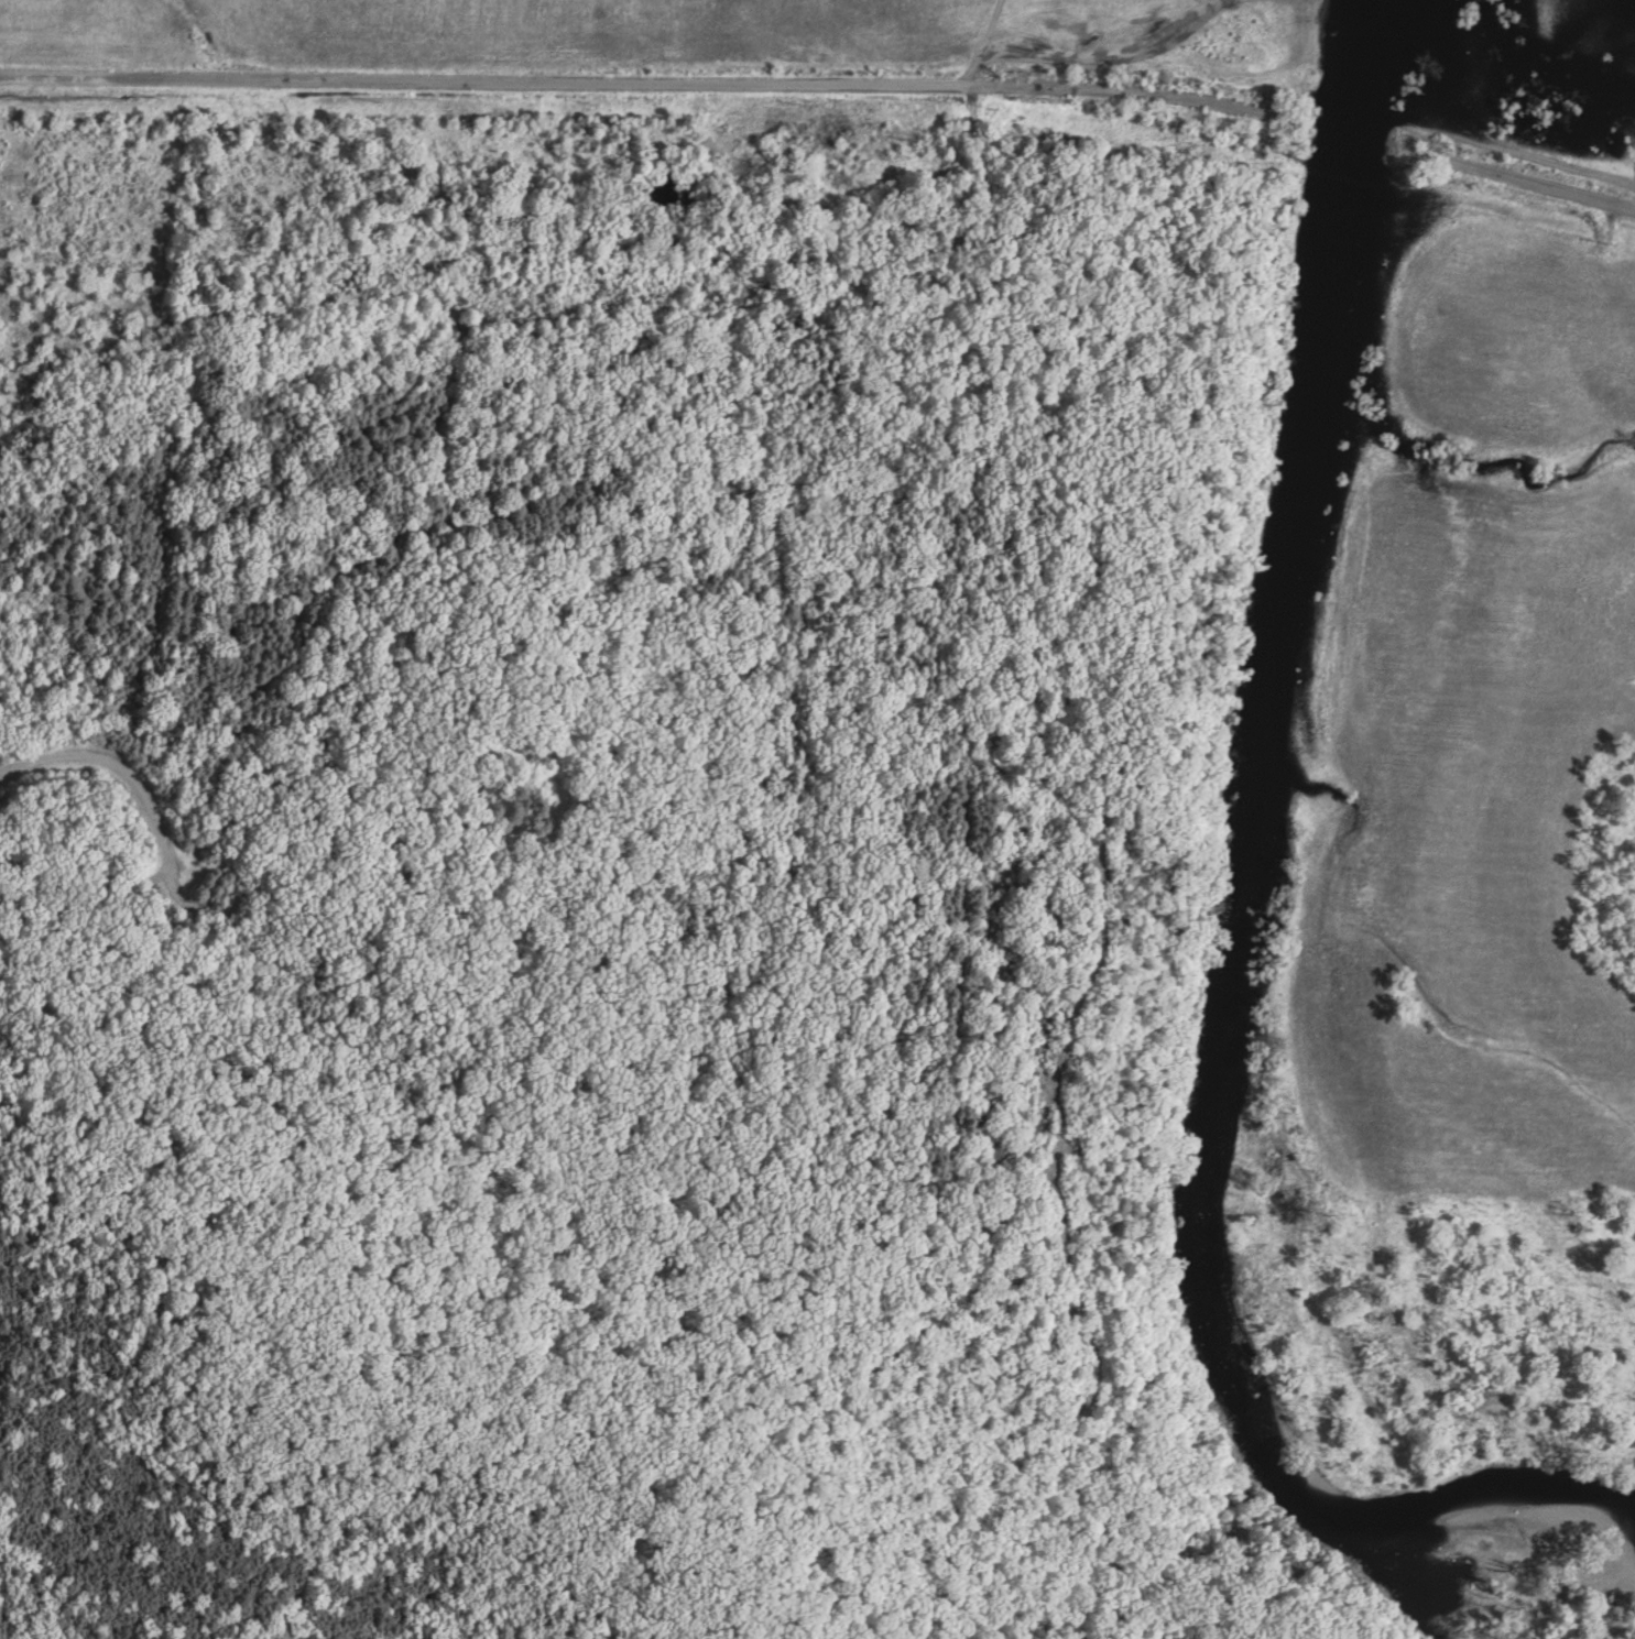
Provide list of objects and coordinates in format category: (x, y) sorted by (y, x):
road: (630, 81)
road: (650, 545)
road: (113, 758)

